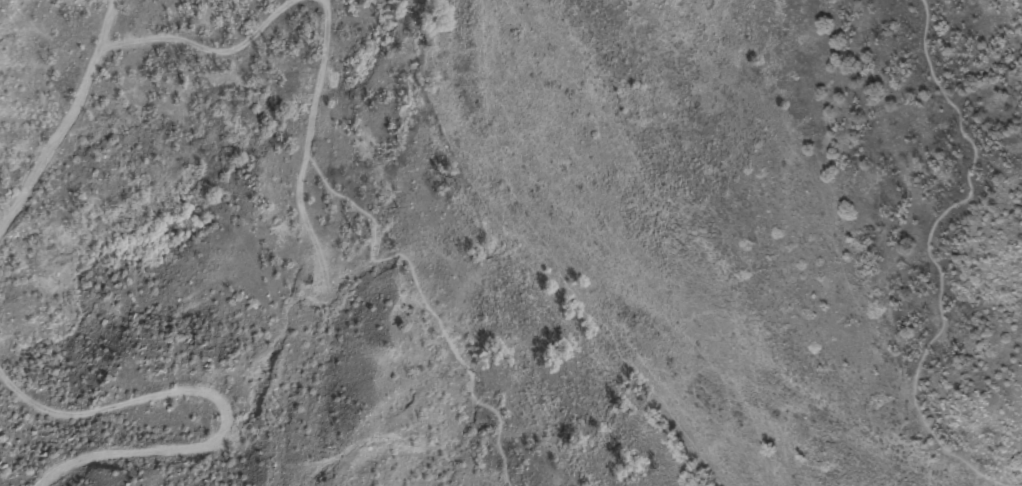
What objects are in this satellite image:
road: (70, 129)
road: (211, 400)

